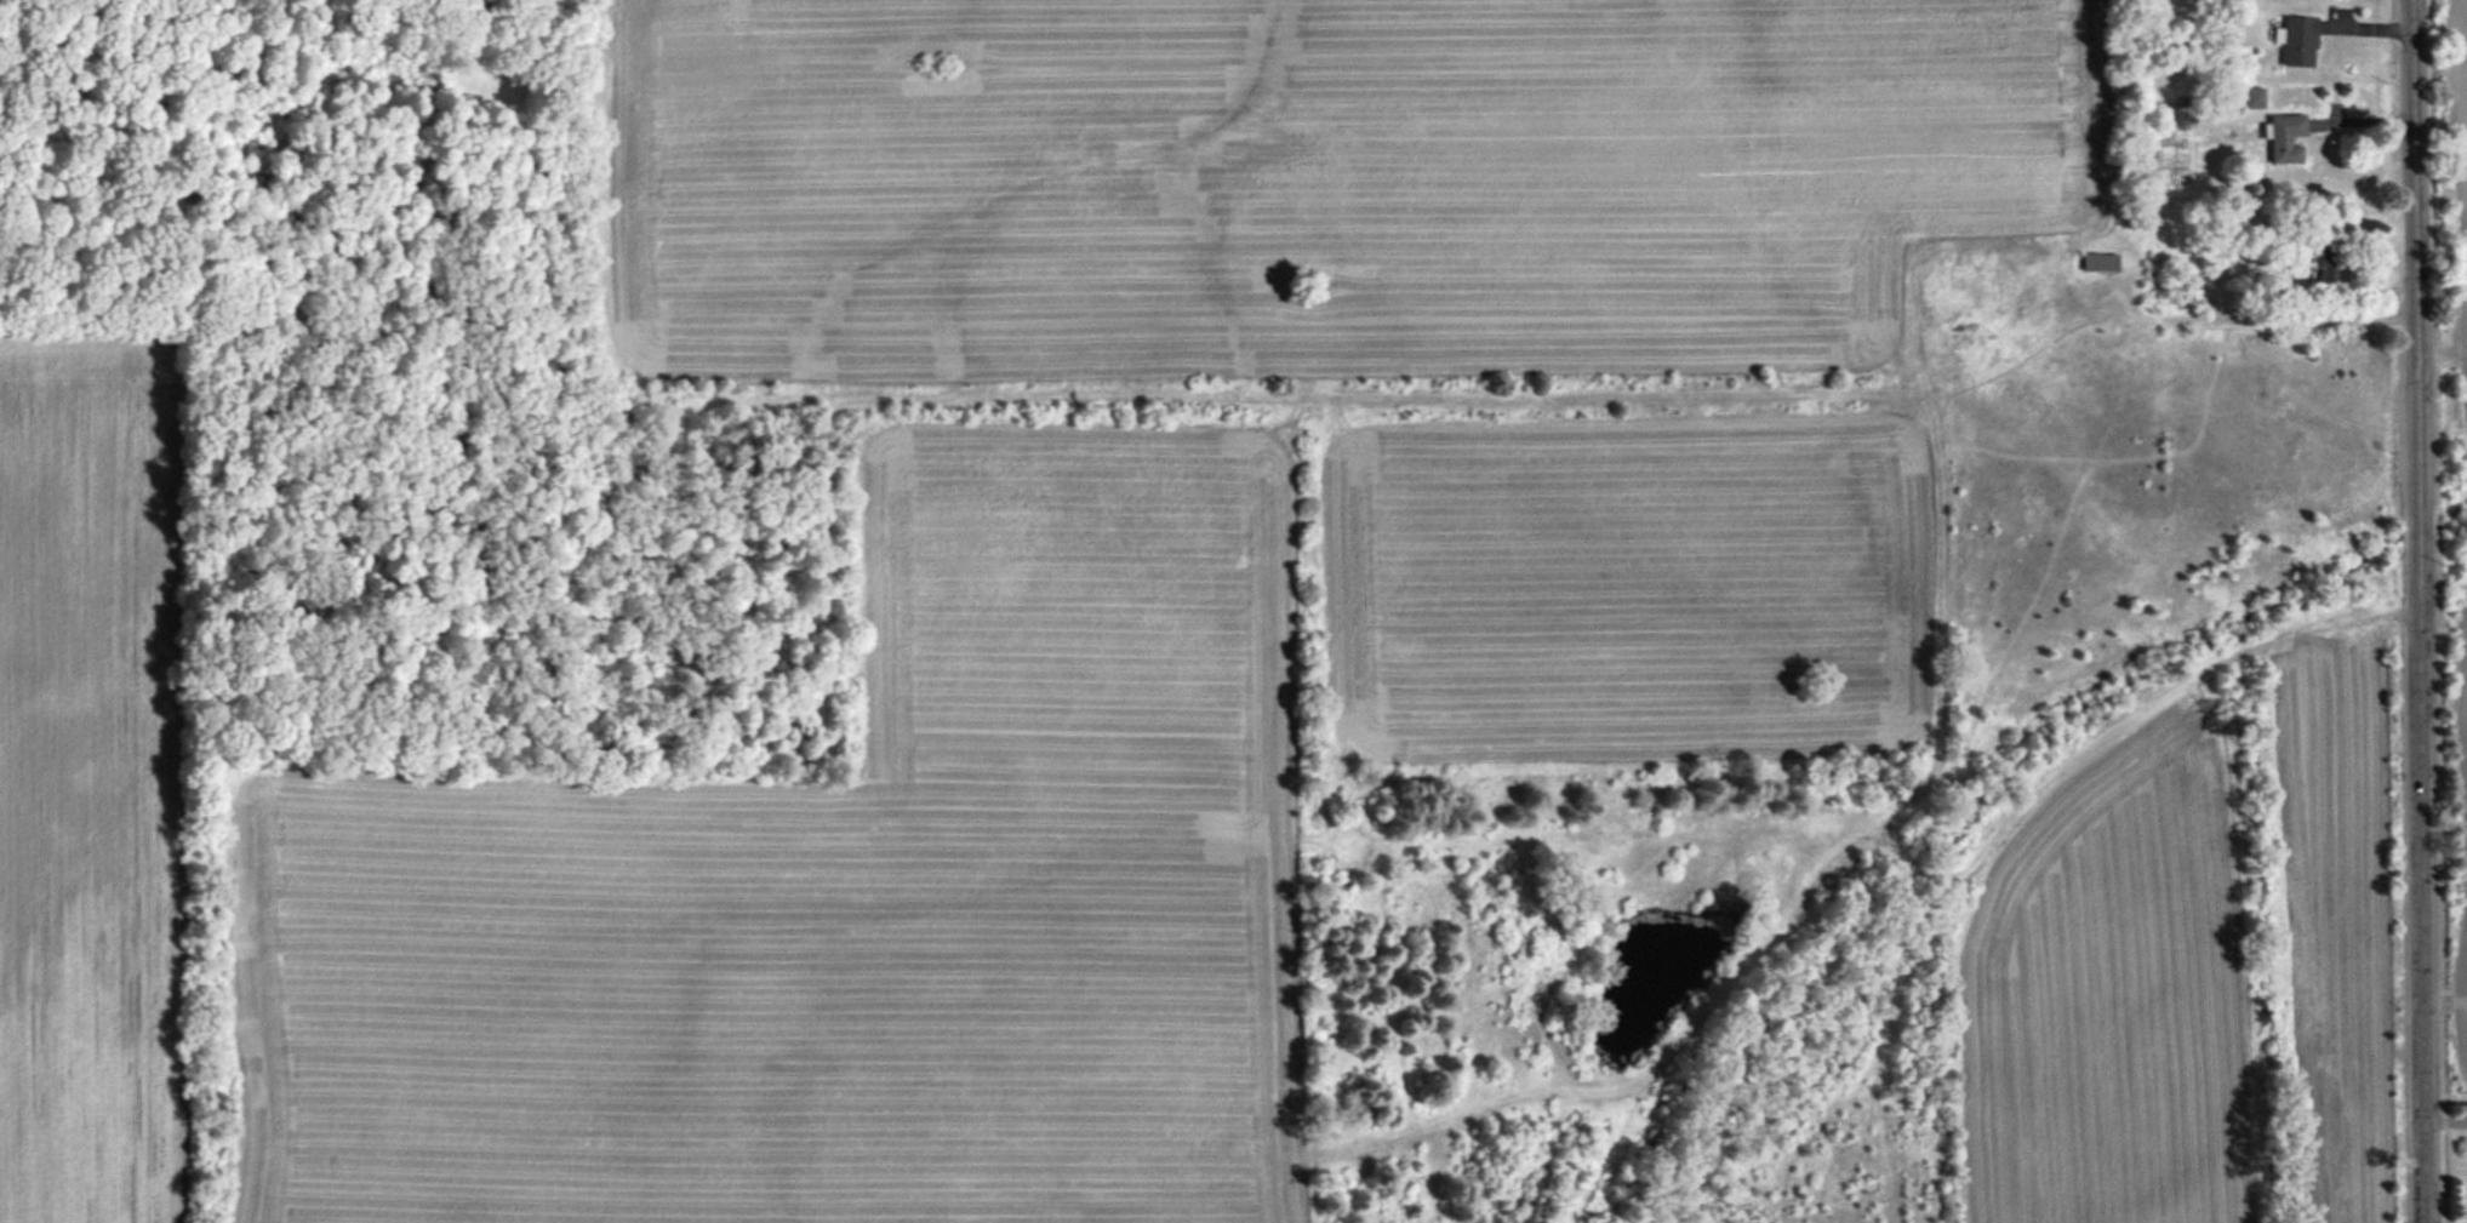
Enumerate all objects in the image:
building: (2296, 41)
building: (2252, 98)
building: (2285, 137)
building: (2098, 262)
building: (2326, 262)
road: (2255, 319)
crop: (1024, 595)
road: (2419, 611)
crop: (2208, 982)

